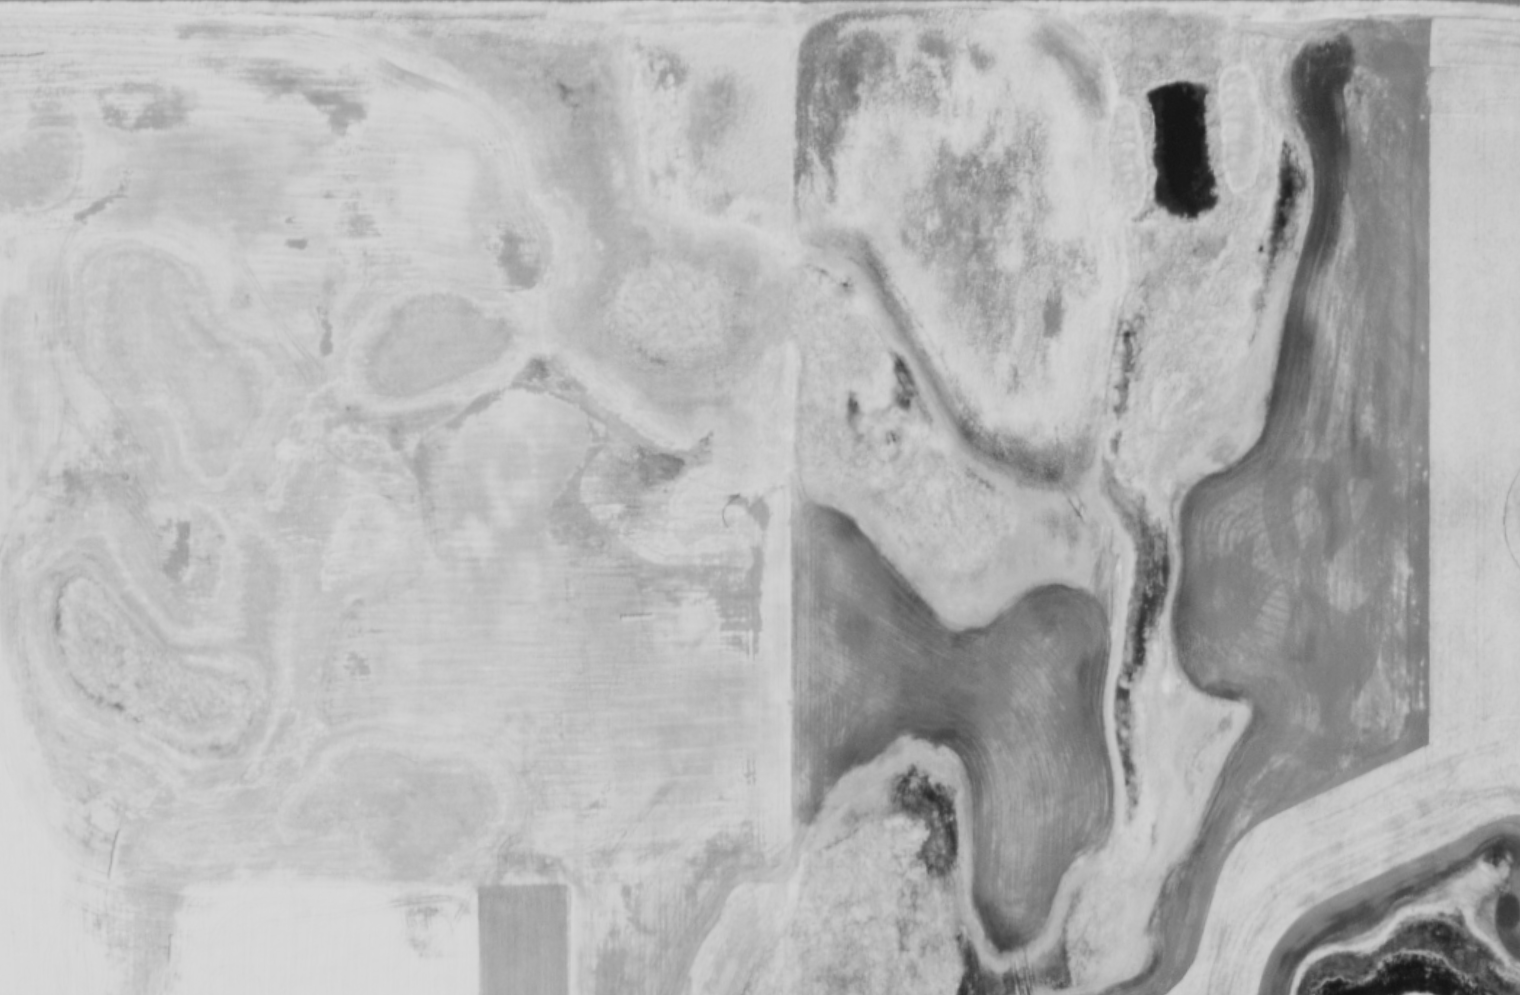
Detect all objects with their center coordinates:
railway: (1519, 0)

